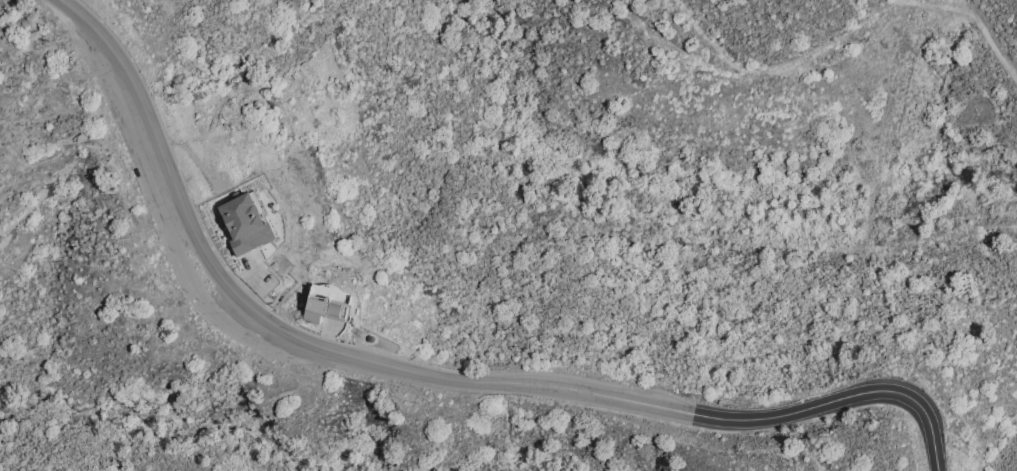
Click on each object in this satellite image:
road: (976, 17)
road: (782, 65)
building: (244, 222)
building: (324, 308)
road: (362, 356)
road: (915, 401)

